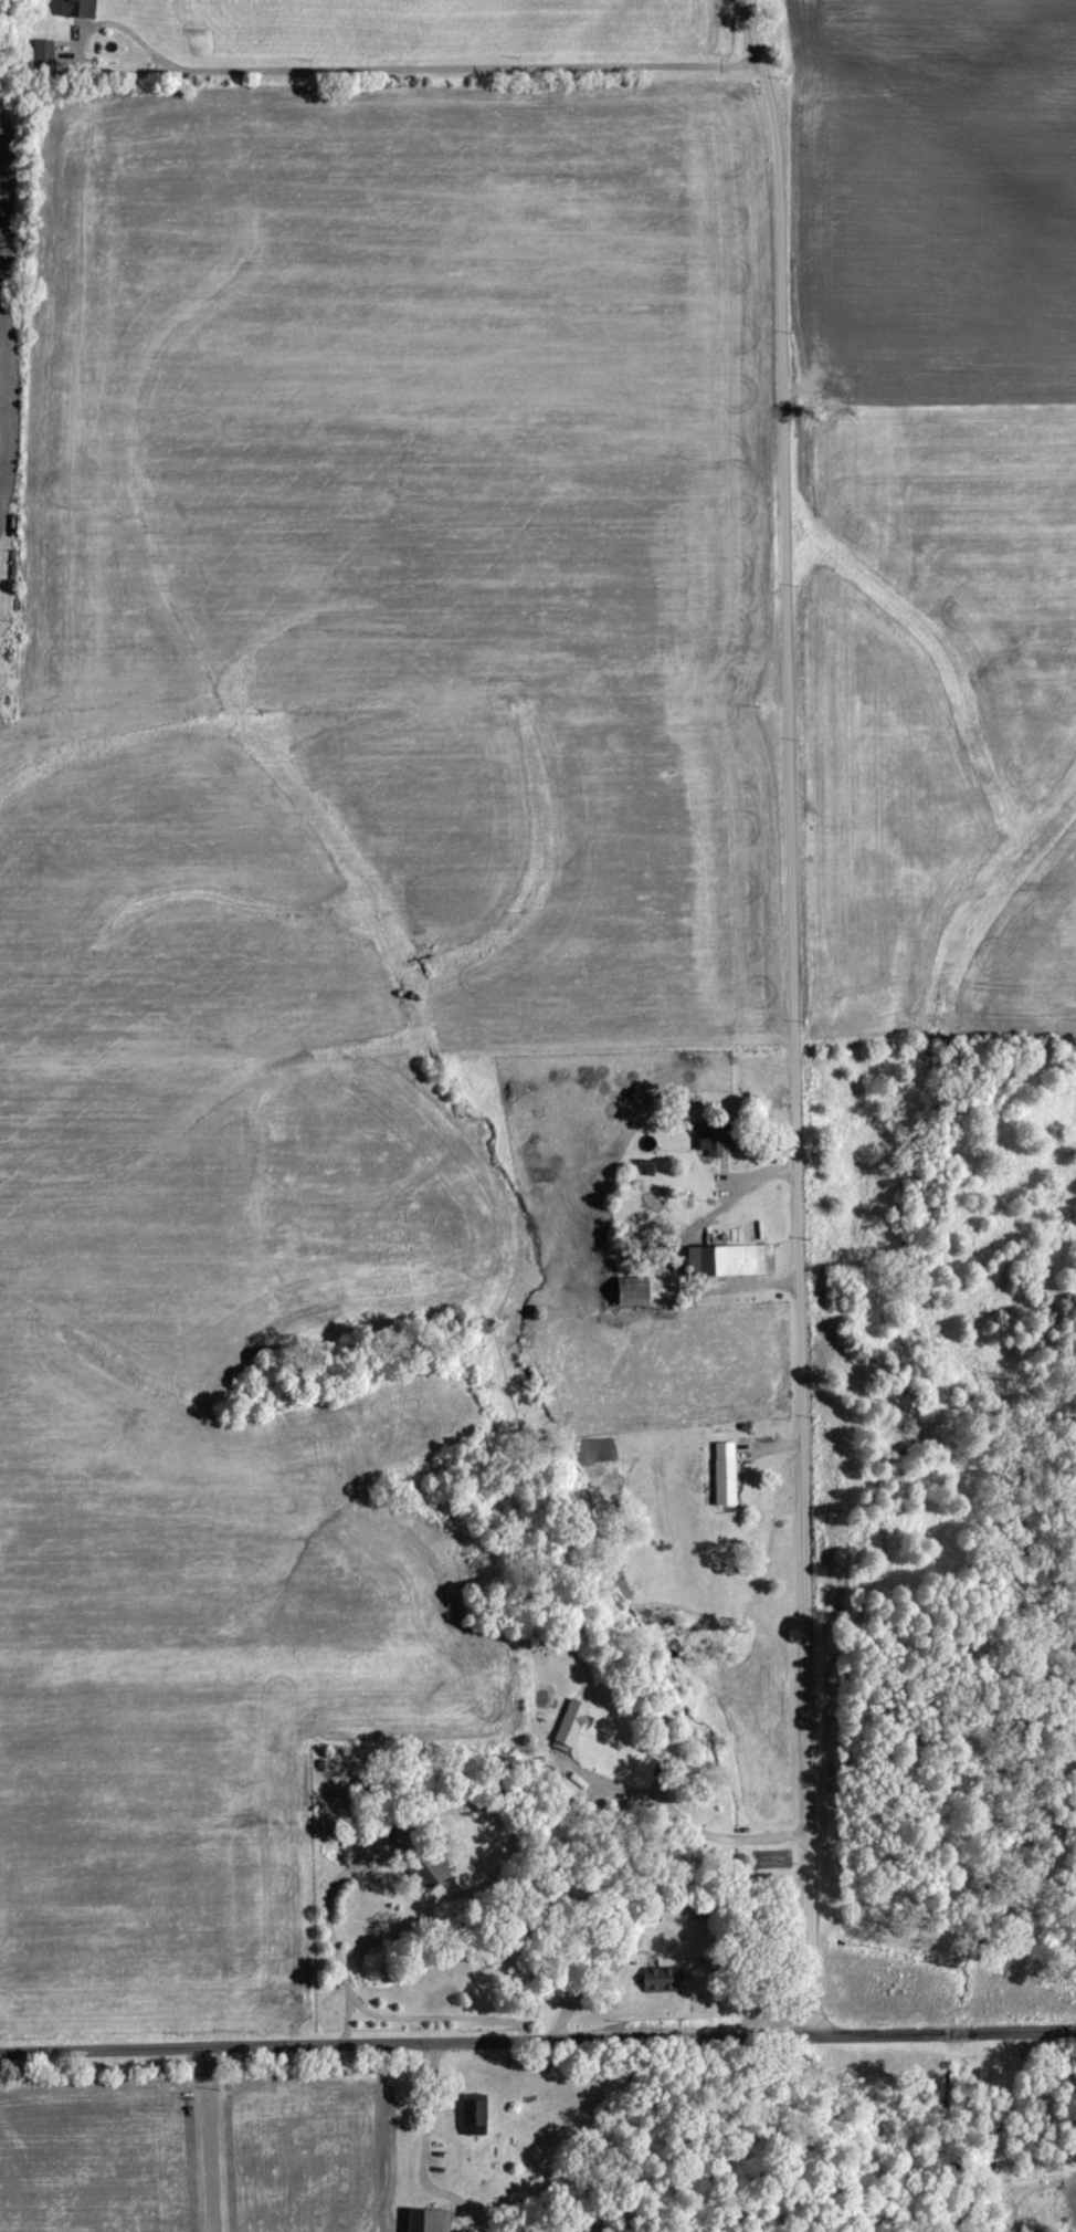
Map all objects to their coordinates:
building: (82, 8)
road: (788, 1015)
building: (717, 1136)
building: (732, 1259)
building: (639, 1297)
building: (727, 1474)
building: (573, 1723)
building: (434, 1871)
building: (663, 1981)
road: (537, 2041)
road: (430, 2098)
building: (476, 2117)
building: (430, 2221)

